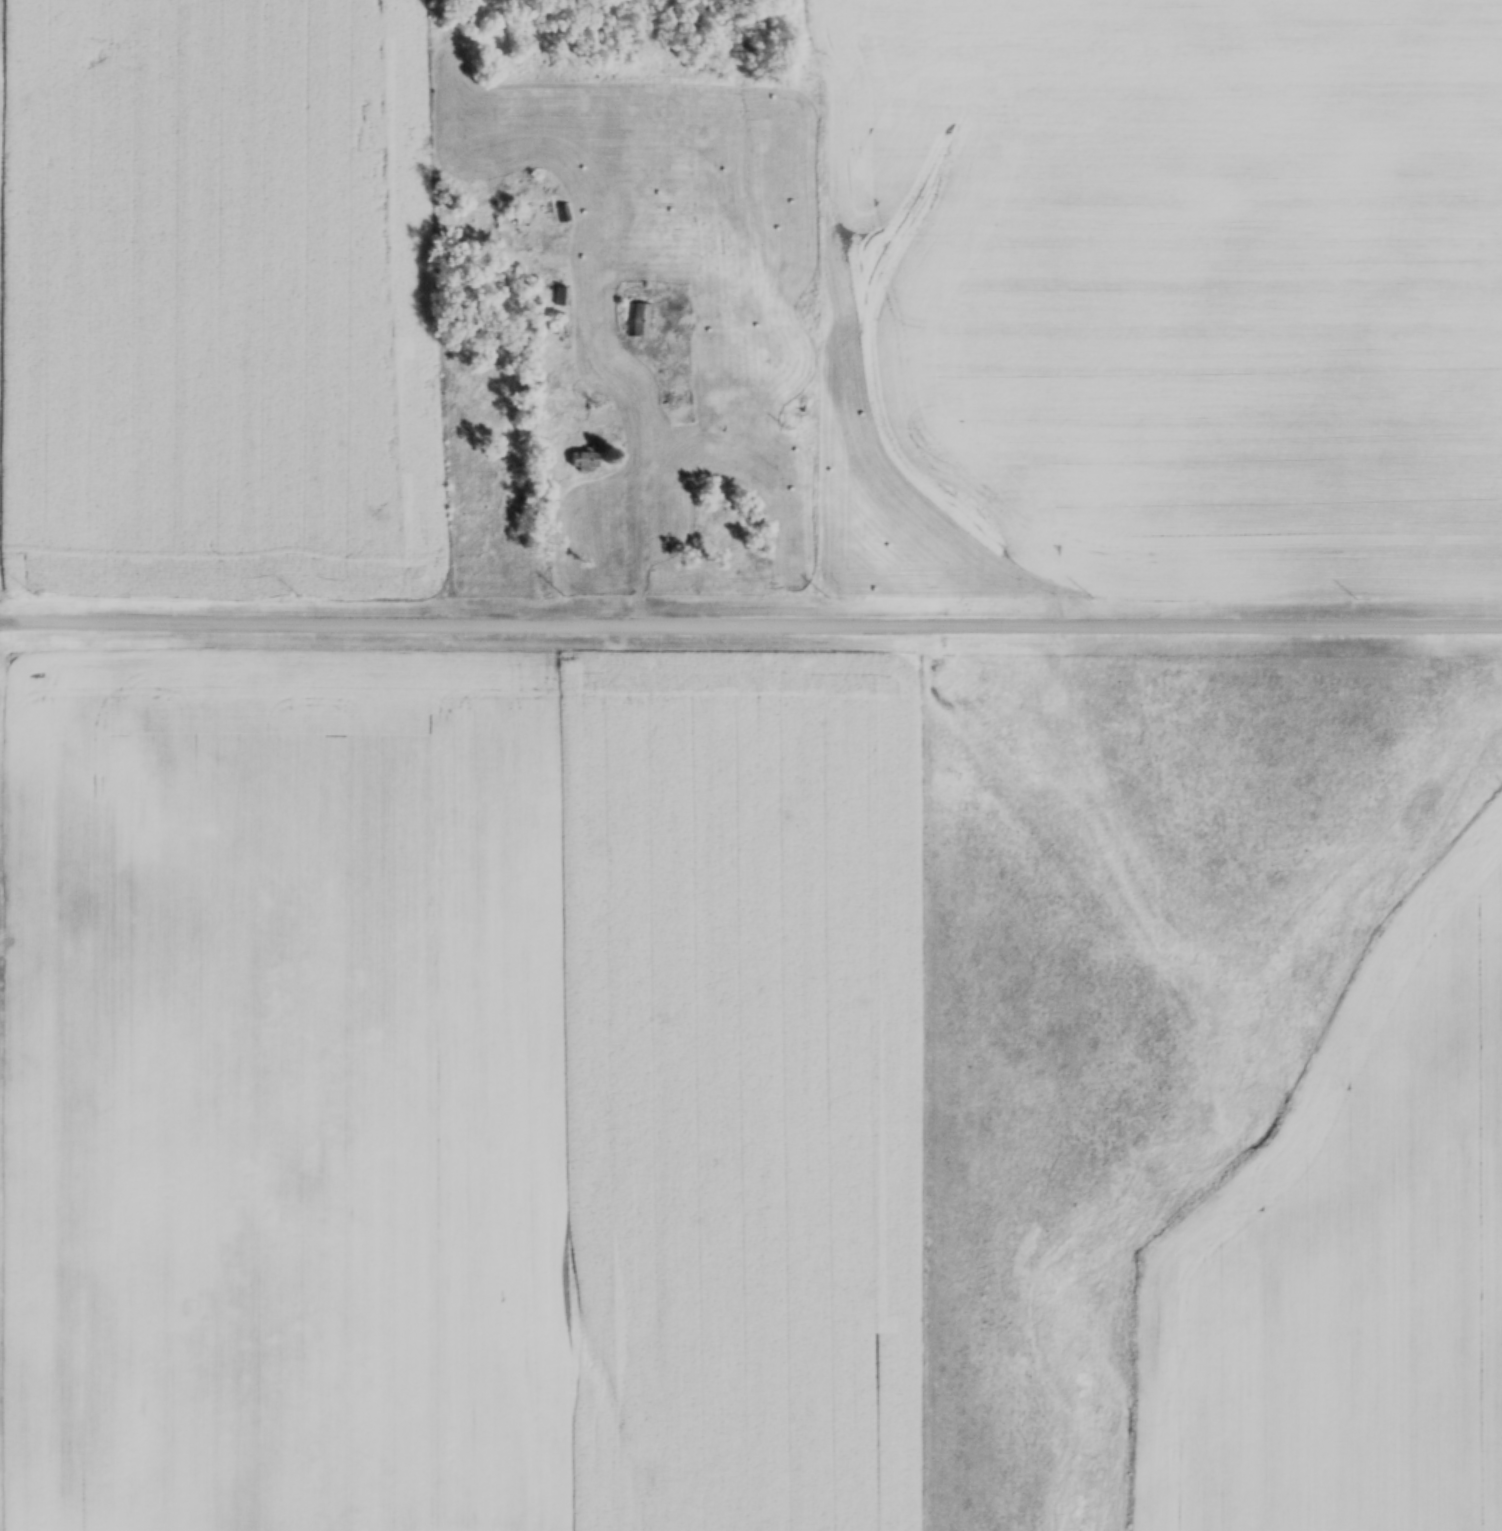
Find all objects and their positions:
building: (560, 216)
building: (562, 299)
building: (634, 318)
building: (586, 464)
road: (638, 509)
road: (750, 623)

